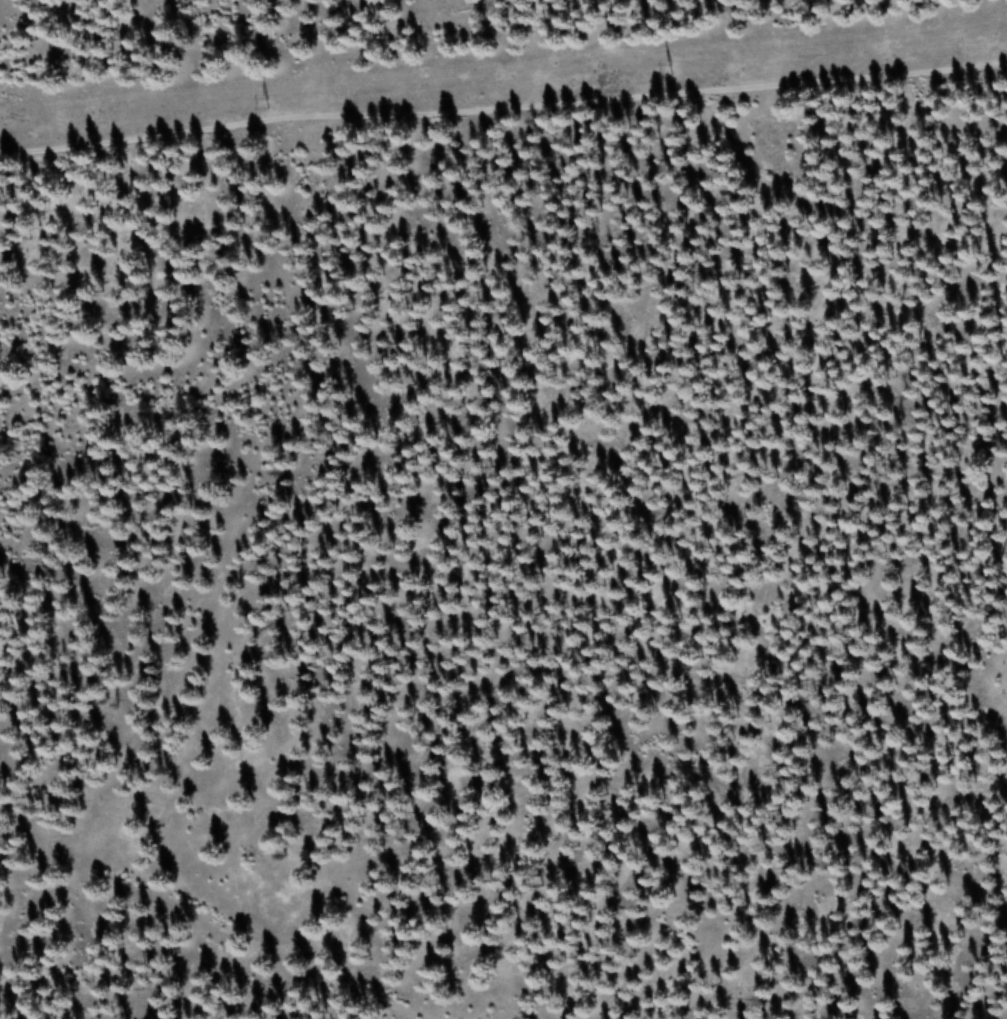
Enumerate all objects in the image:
power tower: (672, 72)
power tower: (262, 107)

